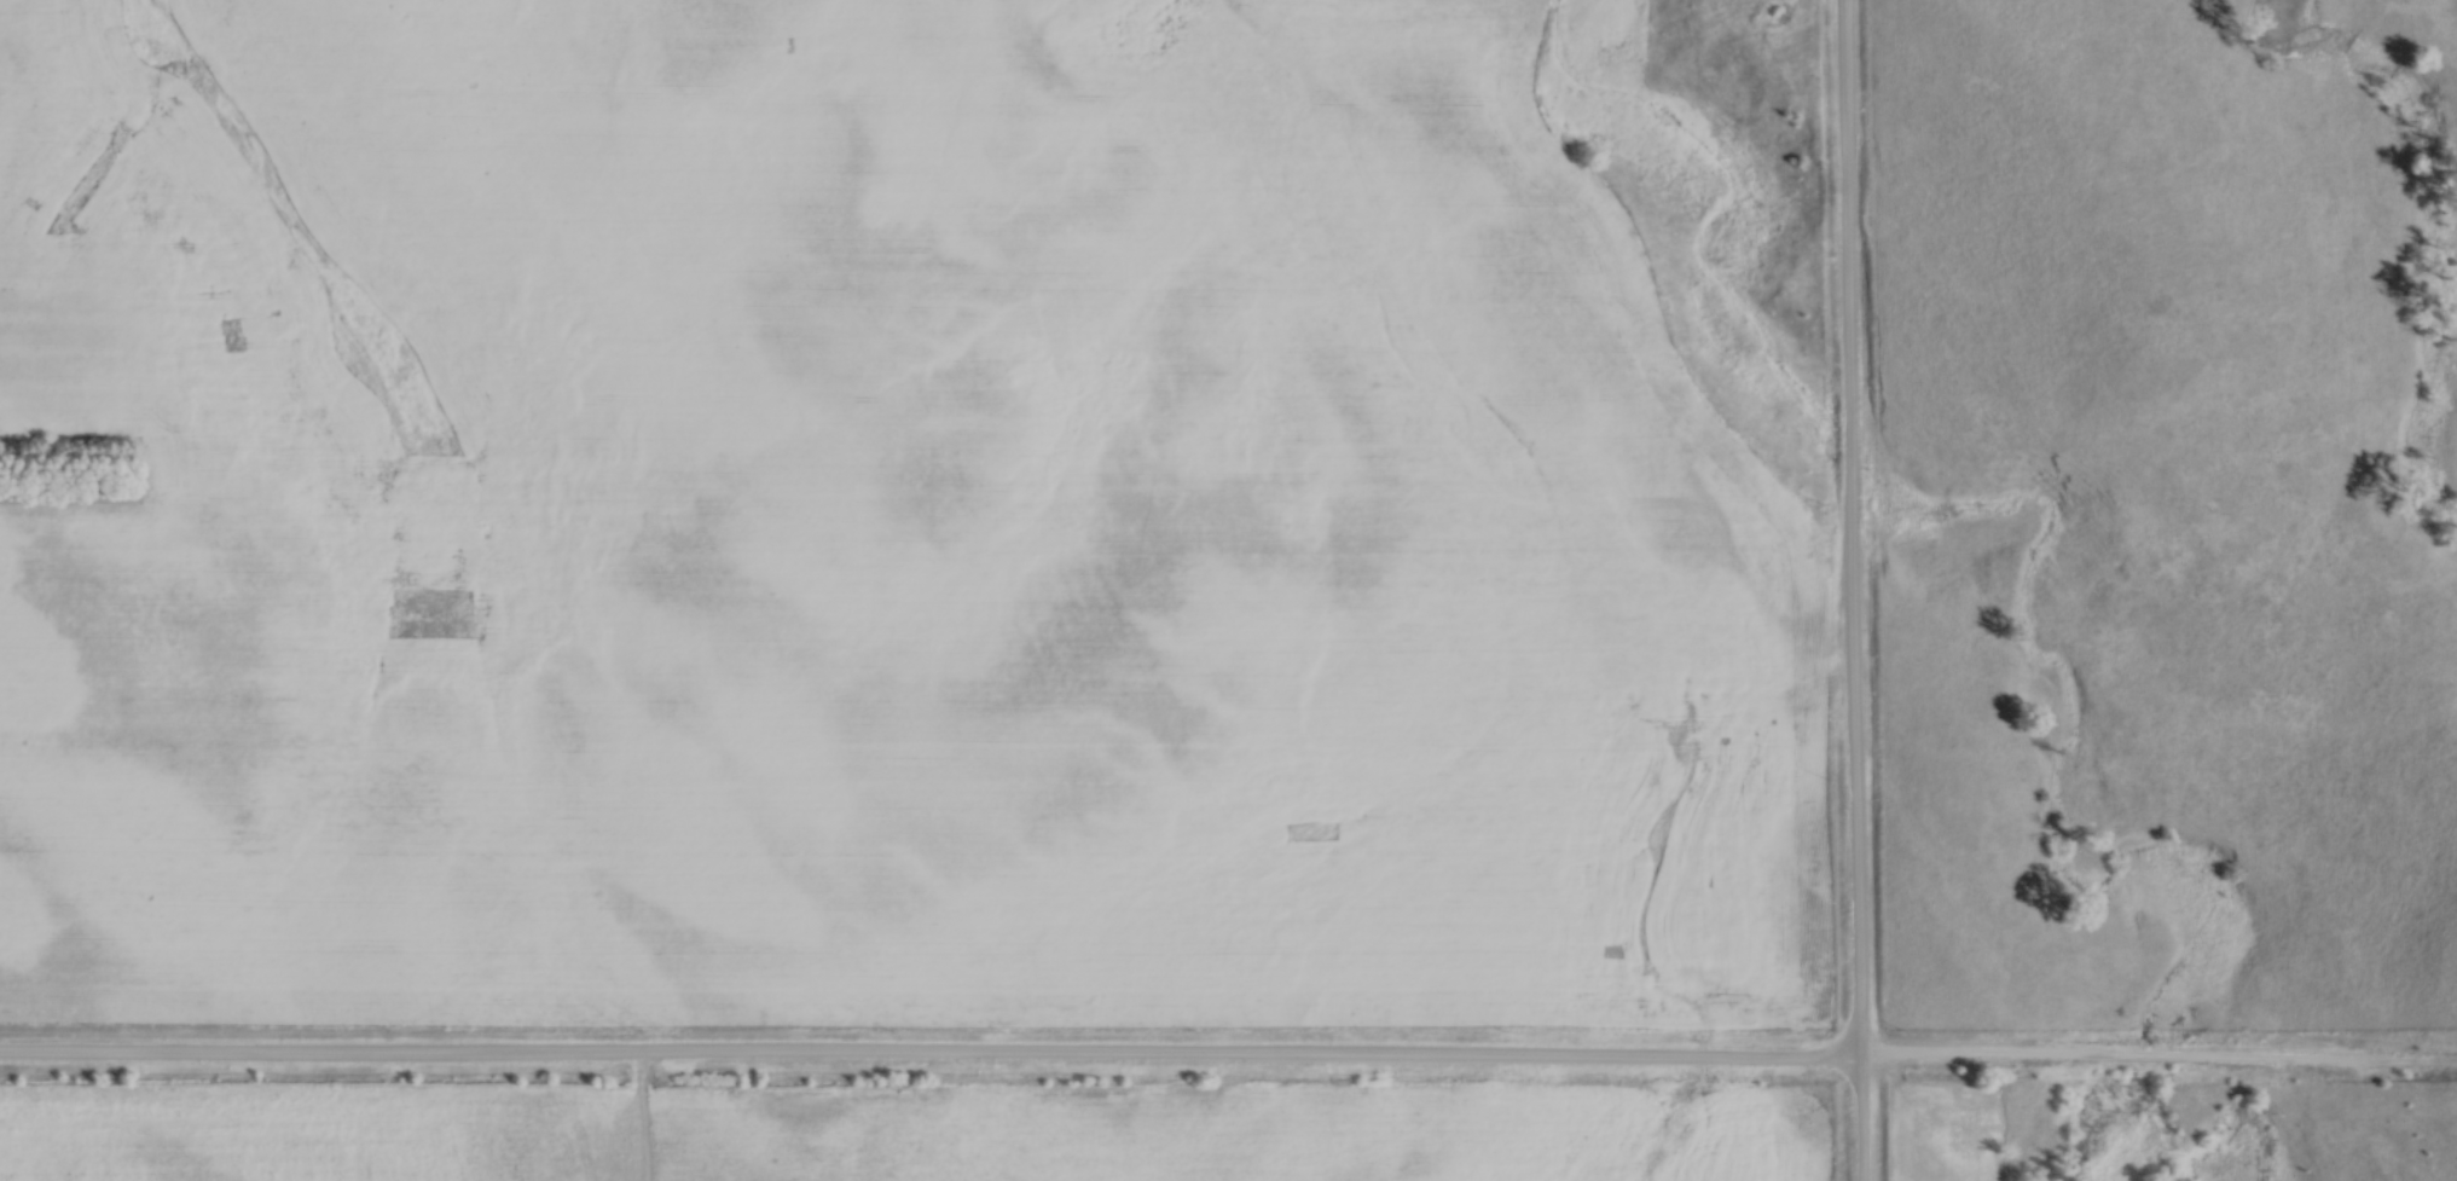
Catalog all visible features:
road: (1854, 590)
road: (1228, 1058)

